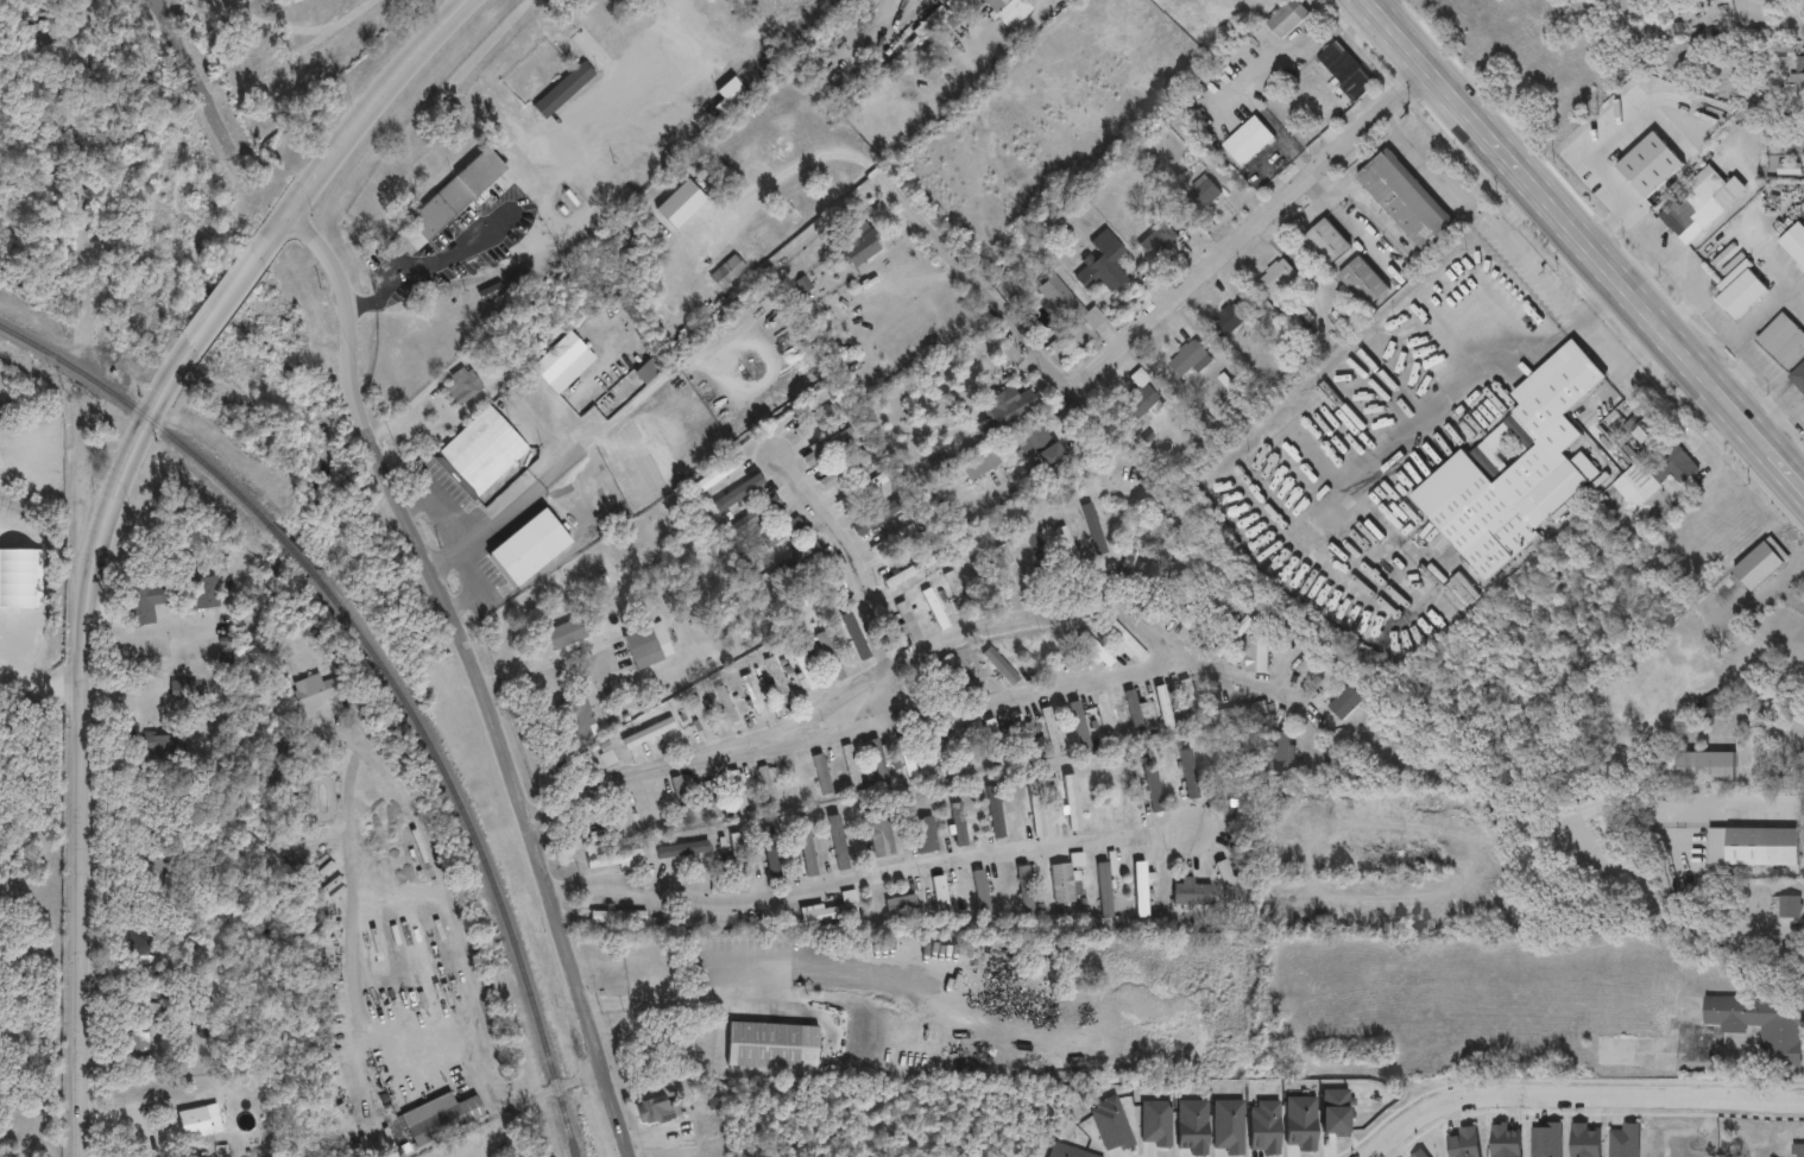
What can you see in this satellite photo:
building: (1286, 20)
road: (740, 42)
road: (37, 49)
building: (1344, 72)
road: (198, 83)
building: (1798, 84)
road: (1611, 134)
building: (1247, 143)
building: (1796, 145)
building: (1622, 158)
road: (78, 166)
road: (547, 184)
building: (1201, 197)
building: (1405, 201)
building: (1699, 206)
road: (927, 228)
road: (1244, 229)
road: (1646, 236)
building: (1158, 241)
building: (1325, 242)
road: (1583, 245)
building: (1793, 246)
building: (1103, 263)
road: (1642, 272)
building: (1275, 279)
building: (1361, 284)
building: (1740, 293)
road: (1556, 301)
building: (1066, 305)
road: (1598, 305)
road: (1674, 316)
road: (1756, 316)
road: (1712, 321)
building: (1783, 343)
building: (1188, 360)
road: (1761, 372)
road: (1734, 378)
building: (1798, 379)
road: (1434, 399)
building: (1136, 402)
railway: (141, 411)
building: (1005, 411)
building: (812, 422)
road: (592, 436)
building: (1514, 469)
building: (843, 470)
road: (1794, 473)
building: (1653, 476)
building: (860, 492)
road: (439, 506)
building: (875, 514)
road: (102, 521)
building: (781, 533)
building: (1066, 544)
railway: (288, 548)
road: (846, 552)
building: (805, 556)
road: (441, 559)
building: (908, 573)
road: (1789, 573)
building: (1747, 575)
building: (984, 582)
road: (472, 586)
building: (1172, 590)
building: (813, 593)
road: (1764, 594)
building: (958, 595)
building: (934, 609)
road: (1011, 618)
building: (907, 622)
road: (146, 632)
building: (1125, 643)
building: (645, 646)
building: (1093, 651)
building: (1255, 656)
building: (828, 657)
building: (801, 664)
building: (999, 666)
building: (951, 670)
road: (473, 672)
road: (1231, 679)
building: (776, 681)
road: (36, 682)
building: (751, 694)
building: (1188, 700)
building: (726, 706)
building: (1344, 707)
building: (1163, 708)
road: (1754, 708)
building: (1136, 712)
building: (1241, 714)
building: (700, 720)
building: (1080, 729)
building: (1021, 738)
building: (997, 745)
building: (1276, 754)
building: (907, 755)
building: (938, 758)
building: (878, 763)
building: (851, 767)
building: (1699, 769)
landfill: (24, 775)
building: (1187, 775)
building: (794, 780)
building: (767, 783)
building: (1152, 784)
building: (737, 789)
building: (1116, 797)
building: (711, 798)
building: (680, 799)
road: (1658, 803)
building: (1215, 808)
building: (998, 816)
building: (958, 824)
building: (589, 834)
building: (878, 834)
building: (923, 835)
railway: (479, 848)
building: (610, 858)
road: (452, 860)
building: (737, 860)
road: (868, 878)
building: (1065, 879)
building: (1229, 885)
building: (1141, 889)
building: (1024, 890)
building: (1104, 890)
building: (1191, 893)
building: (980, 897)
building: (900, 905)
building: (1787, 908)
building: (831, 910)
building: (617, 916)
road: (353, 930)
road: (669, 991)
building: (1755, 1026)
building: (777, 1045)
building: (656, 1050)
building: (1613, 1052)
building: (701, 1056)
road: (500, 1063)
road: (1576, 1100)
building: (654, 1111)
road: (128, 1115)
building: (439, 1117)
building: (1797, 1151)
road: (183, 1156)

